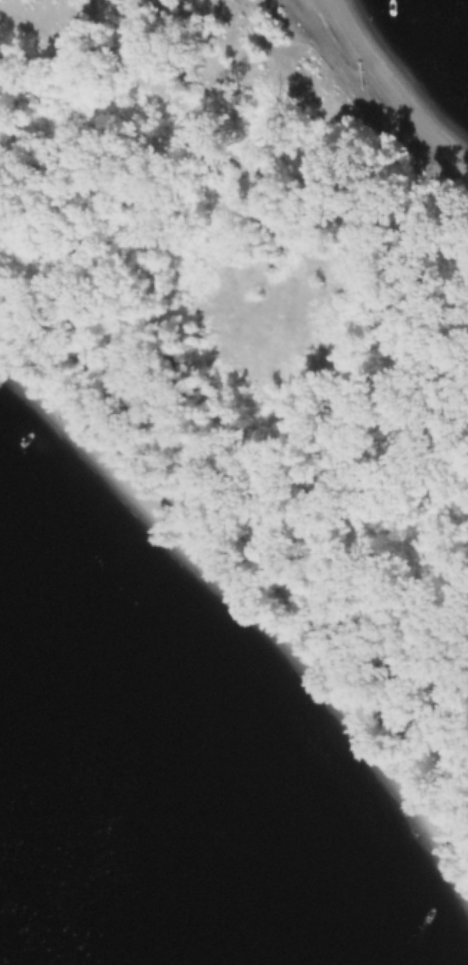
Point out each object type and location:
road: (224, 157)
river: (34, 928)

